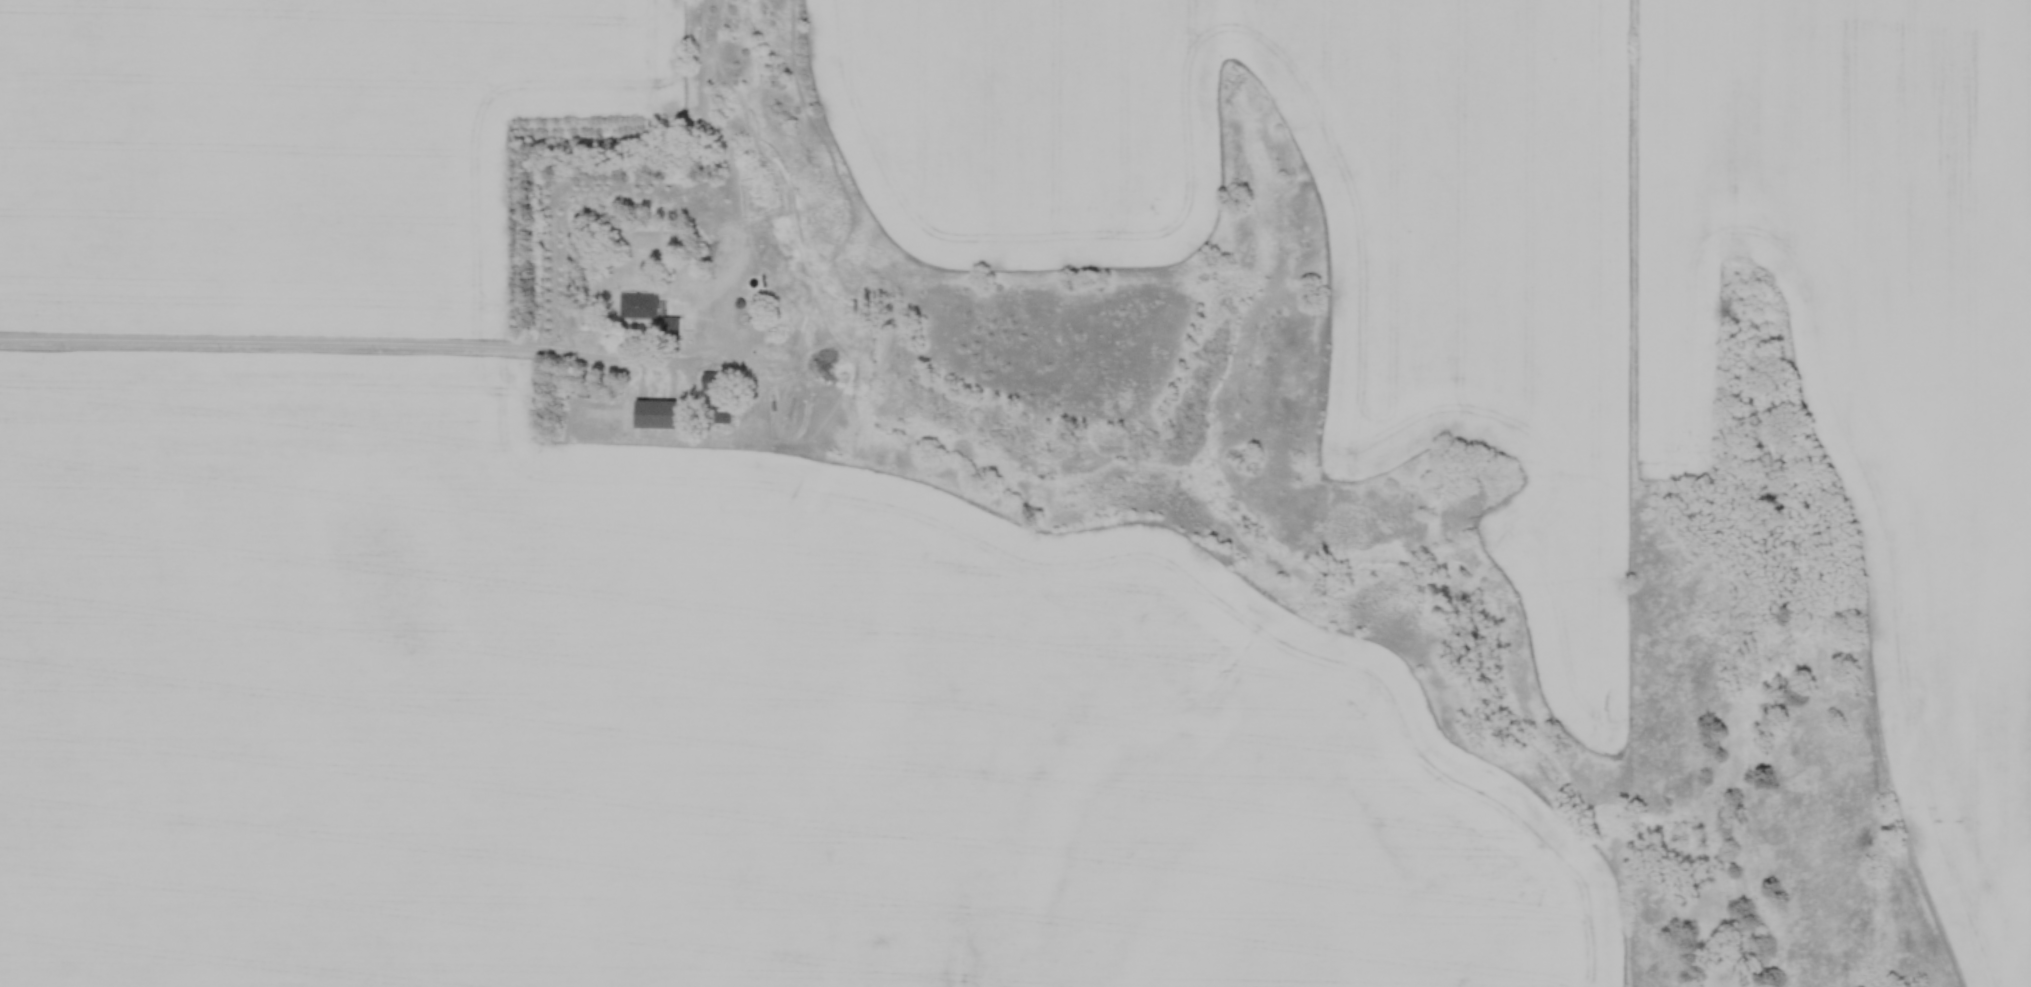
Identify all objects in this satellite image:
crop: (286, 150)
building: (638, 304)
building: (670, 326)
road: (313, 345)
crop: (1471, 348)
building: (655, 413)
building: (722, 413)
crop: (680, 720)

